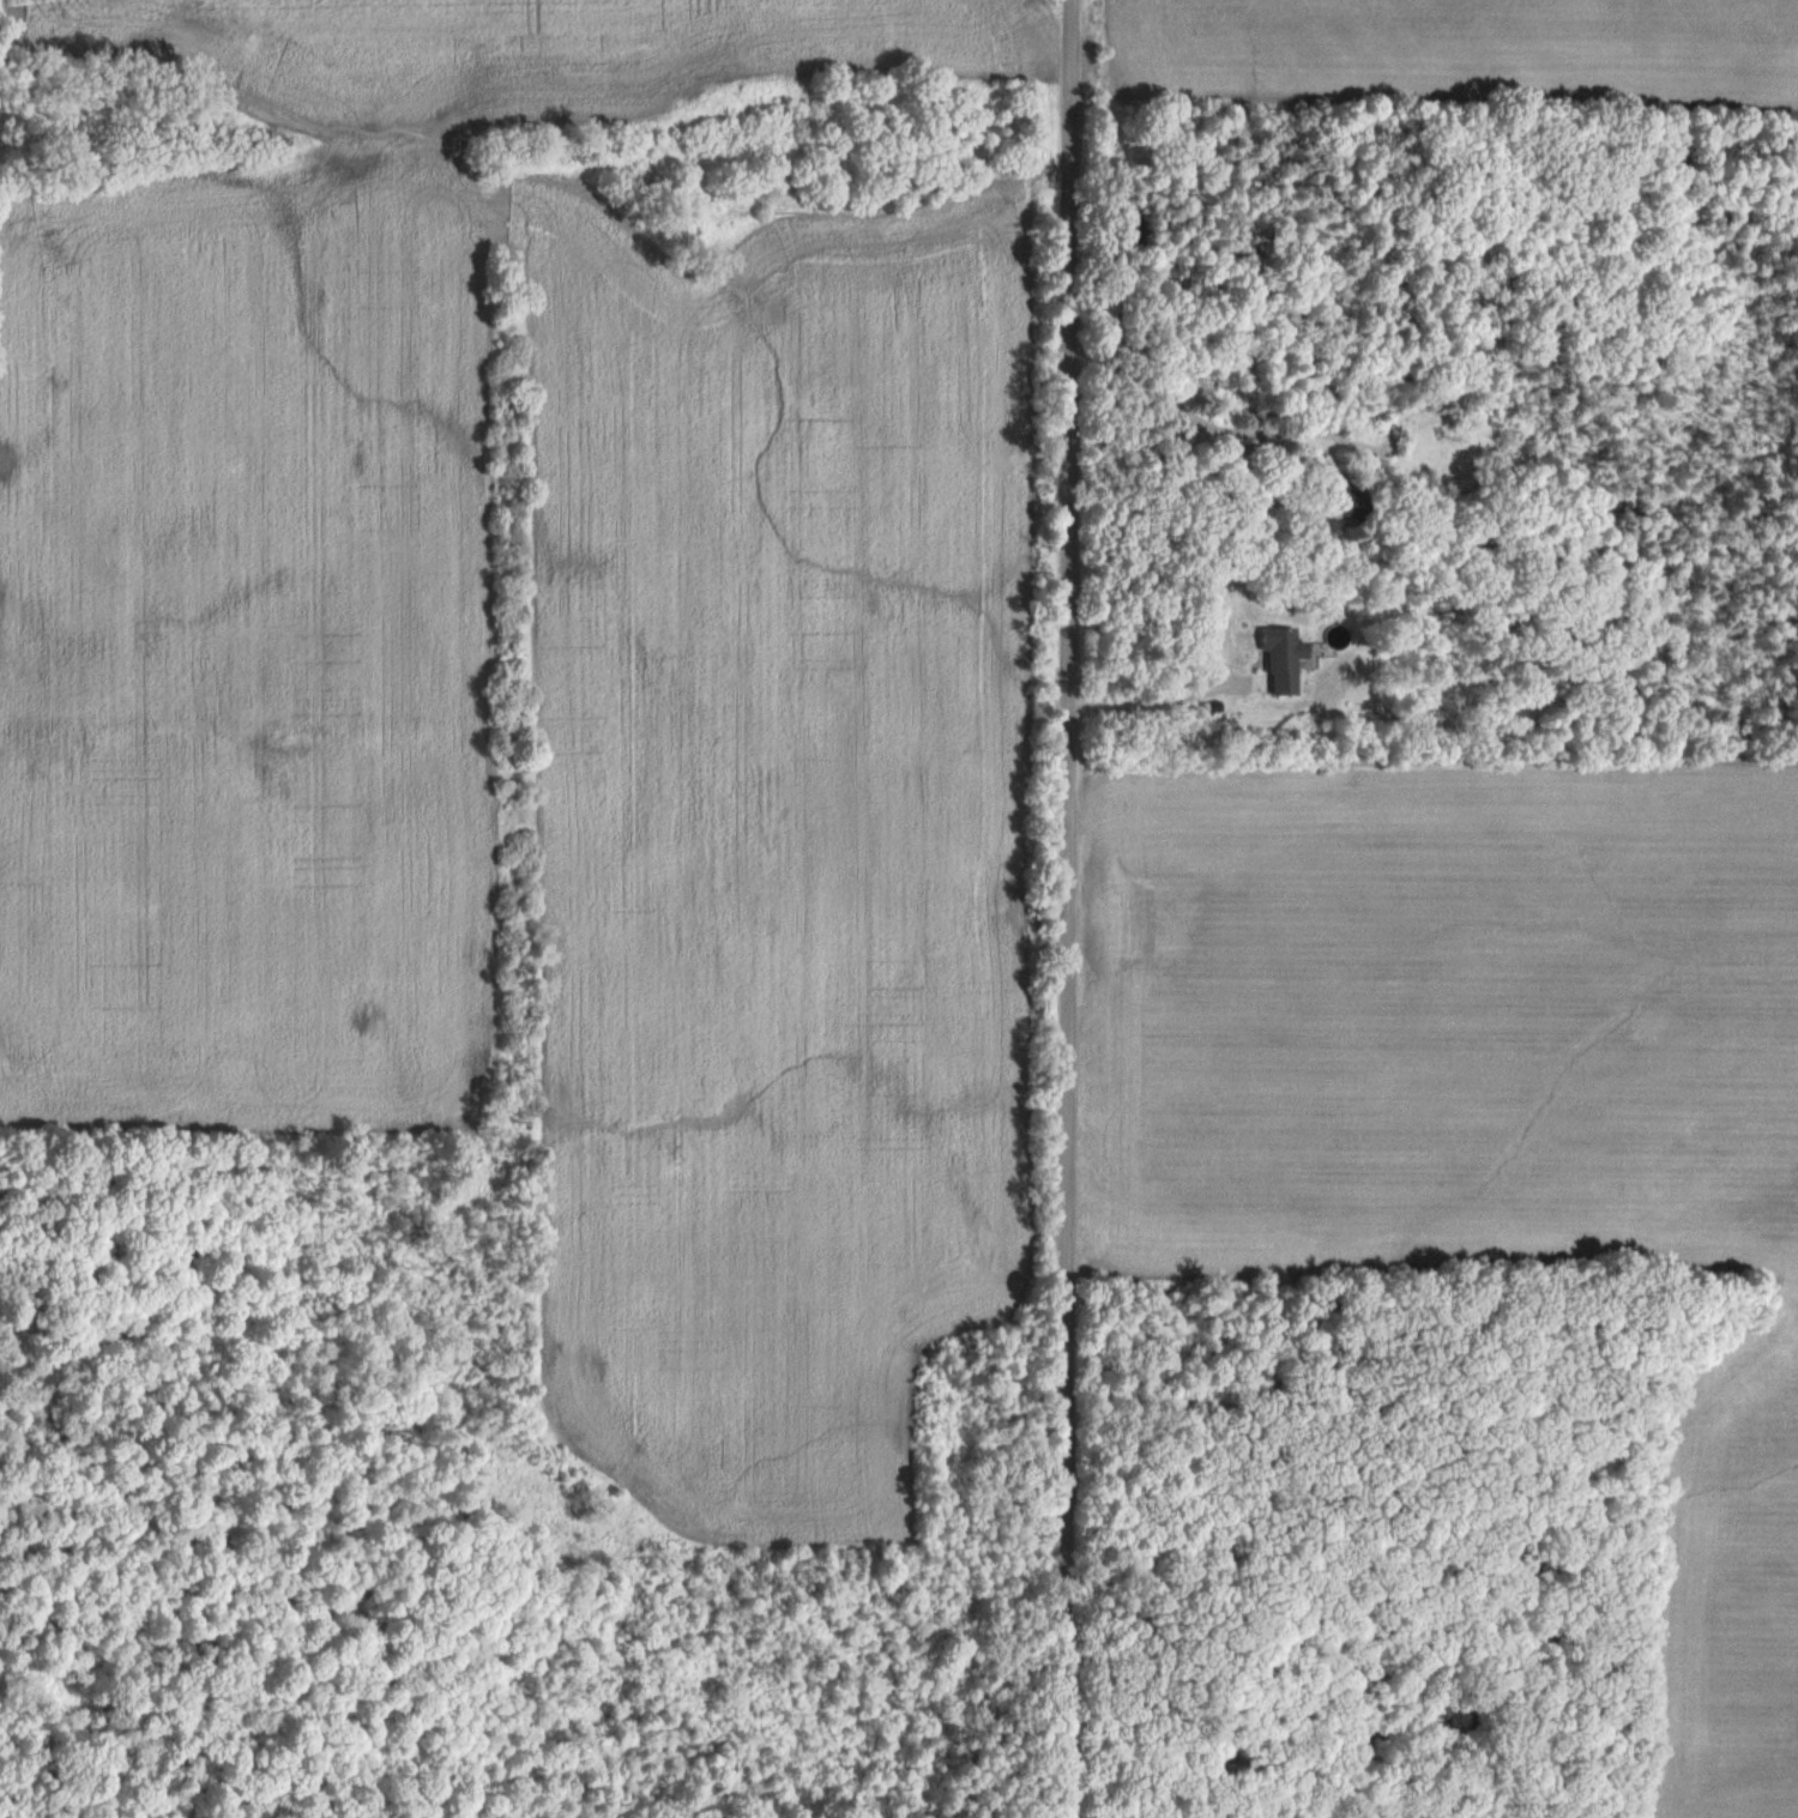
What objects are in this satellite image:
road: (1207, 418)
building: (1343, 502)
building: (1281, 660)
road: (1152, 702)
road: (1057, 908)

